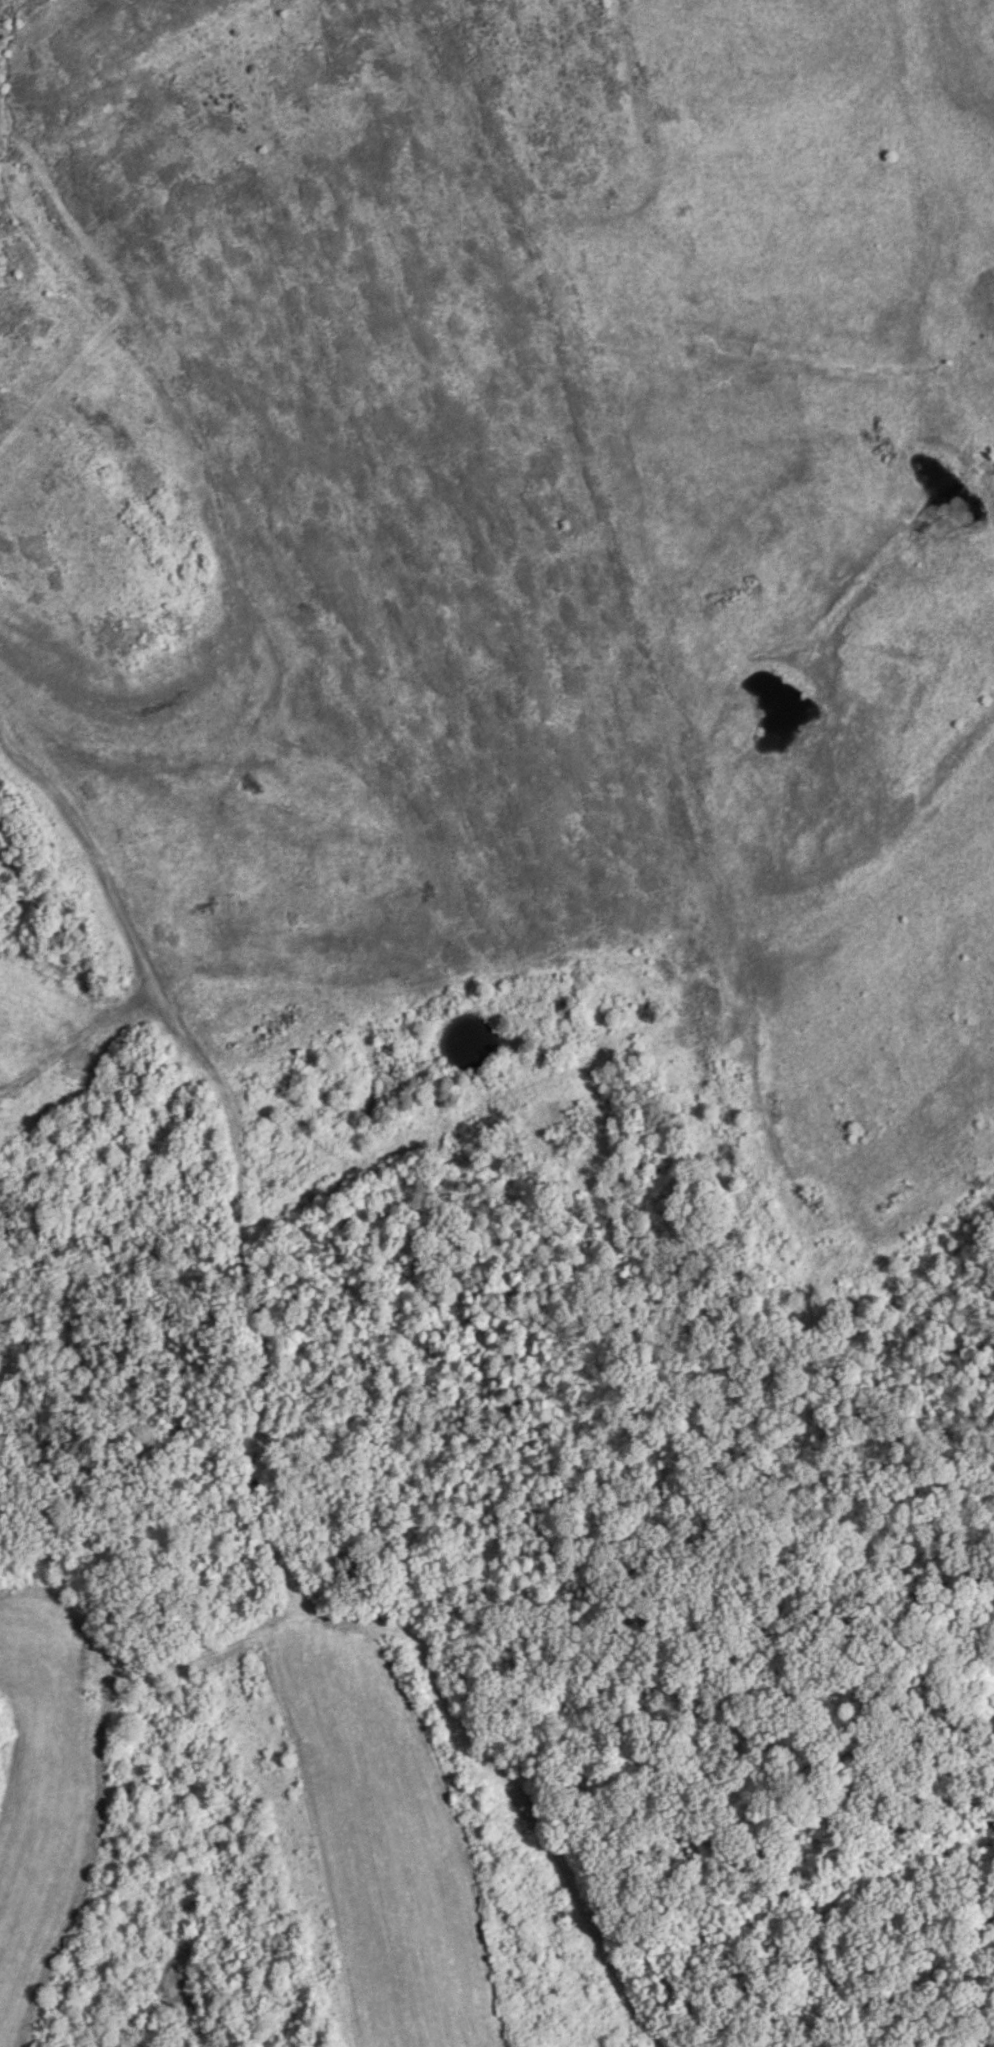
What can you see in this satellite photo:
road: (253, 1309)
road: (505, 1786)

